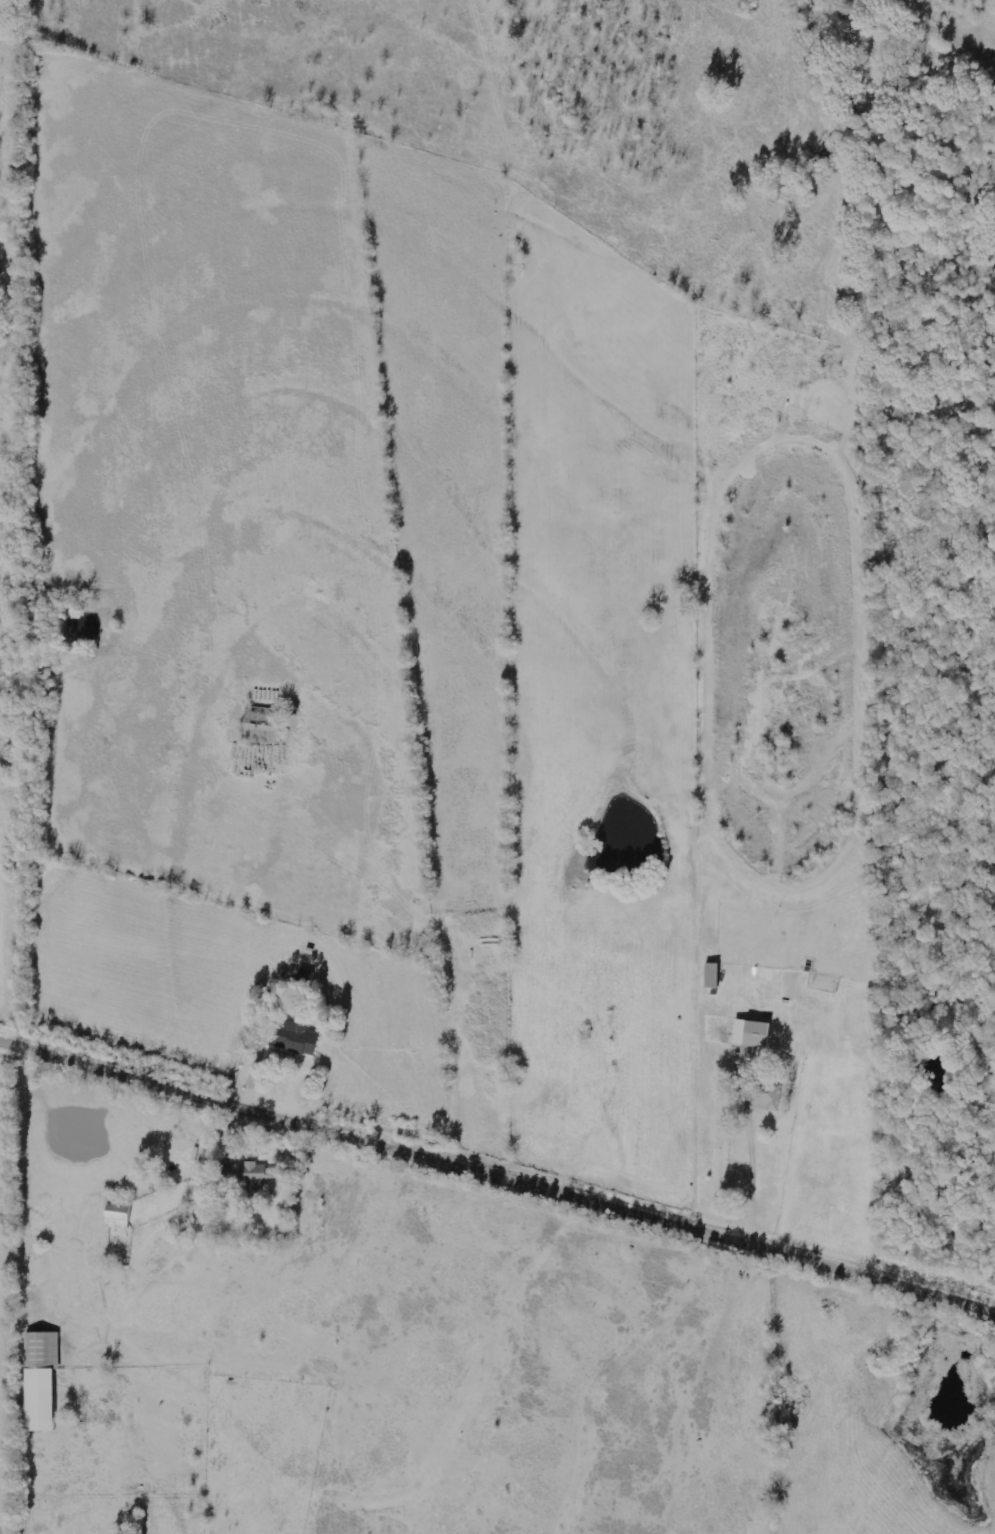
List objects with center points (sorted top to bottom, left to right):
building: (261, 724)
building: (750, 1033)
building: (295, 1038)
building: (763, 1098)
building: (254, 1176)
road: (497, 1178)
building: (116, 1217)
building: (39, 1379)

